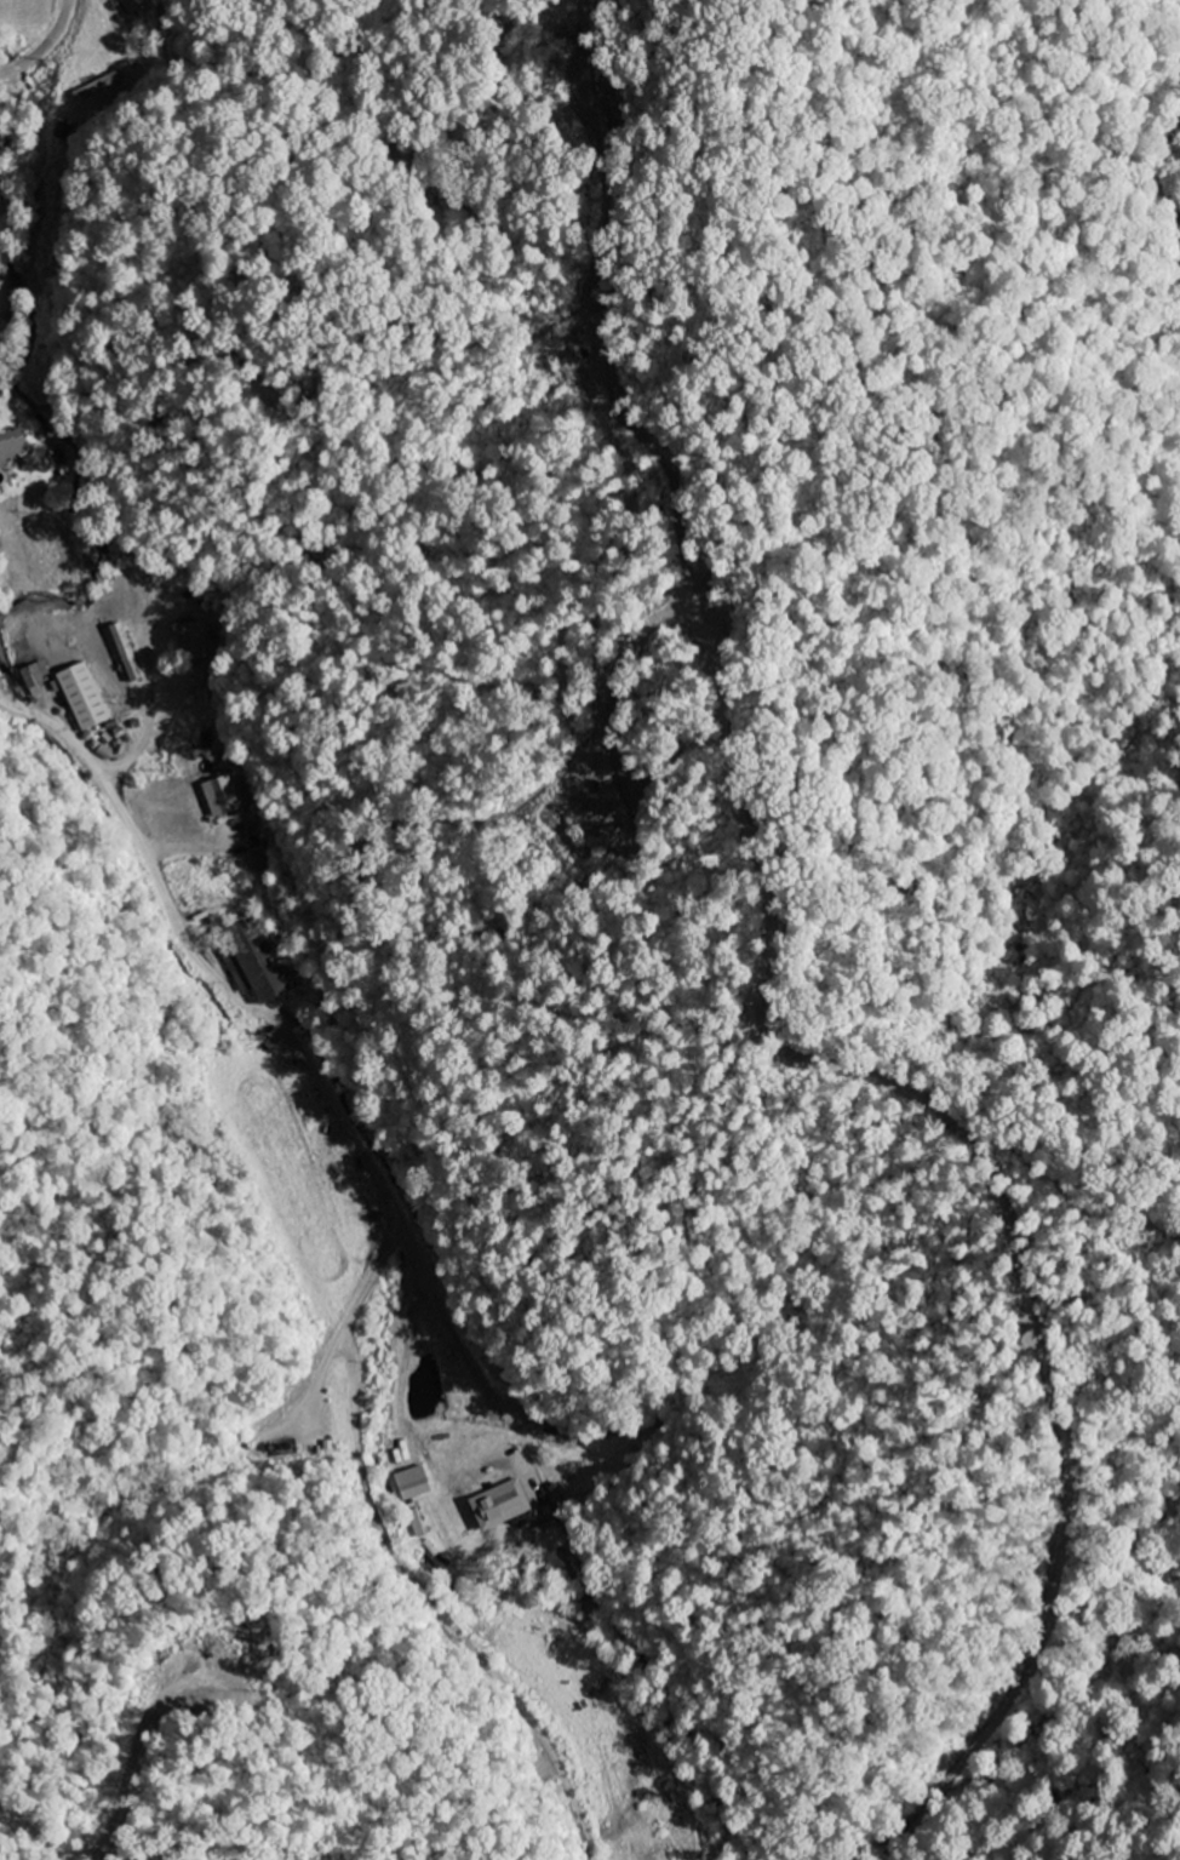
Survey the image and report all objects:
road: (44, 42)
building: (98, 87)
building: (11, 443)
building: (191, 641)
building: (124, 653)
building: (33, 679)
building: (81, 698)
road: (48, 717)
building: (205, 742)
building: (218, 799)
building: (256, 965)
road: (457, 1283)
building: (411, 1486)
building: (498, 1507)
building: (548, 1538)

